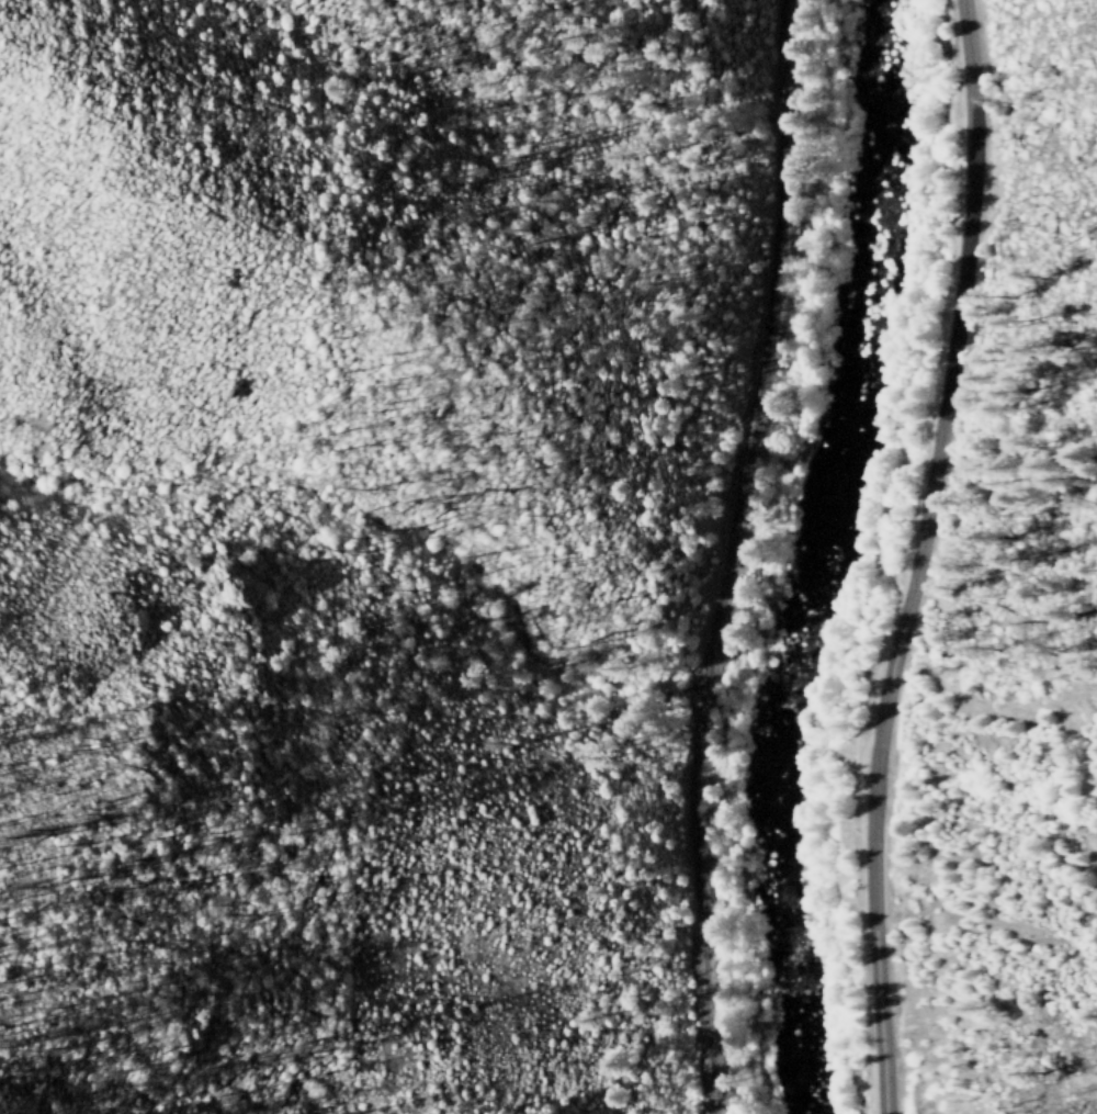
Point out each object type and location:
railway: (727, 556)
road: (920, 558)

